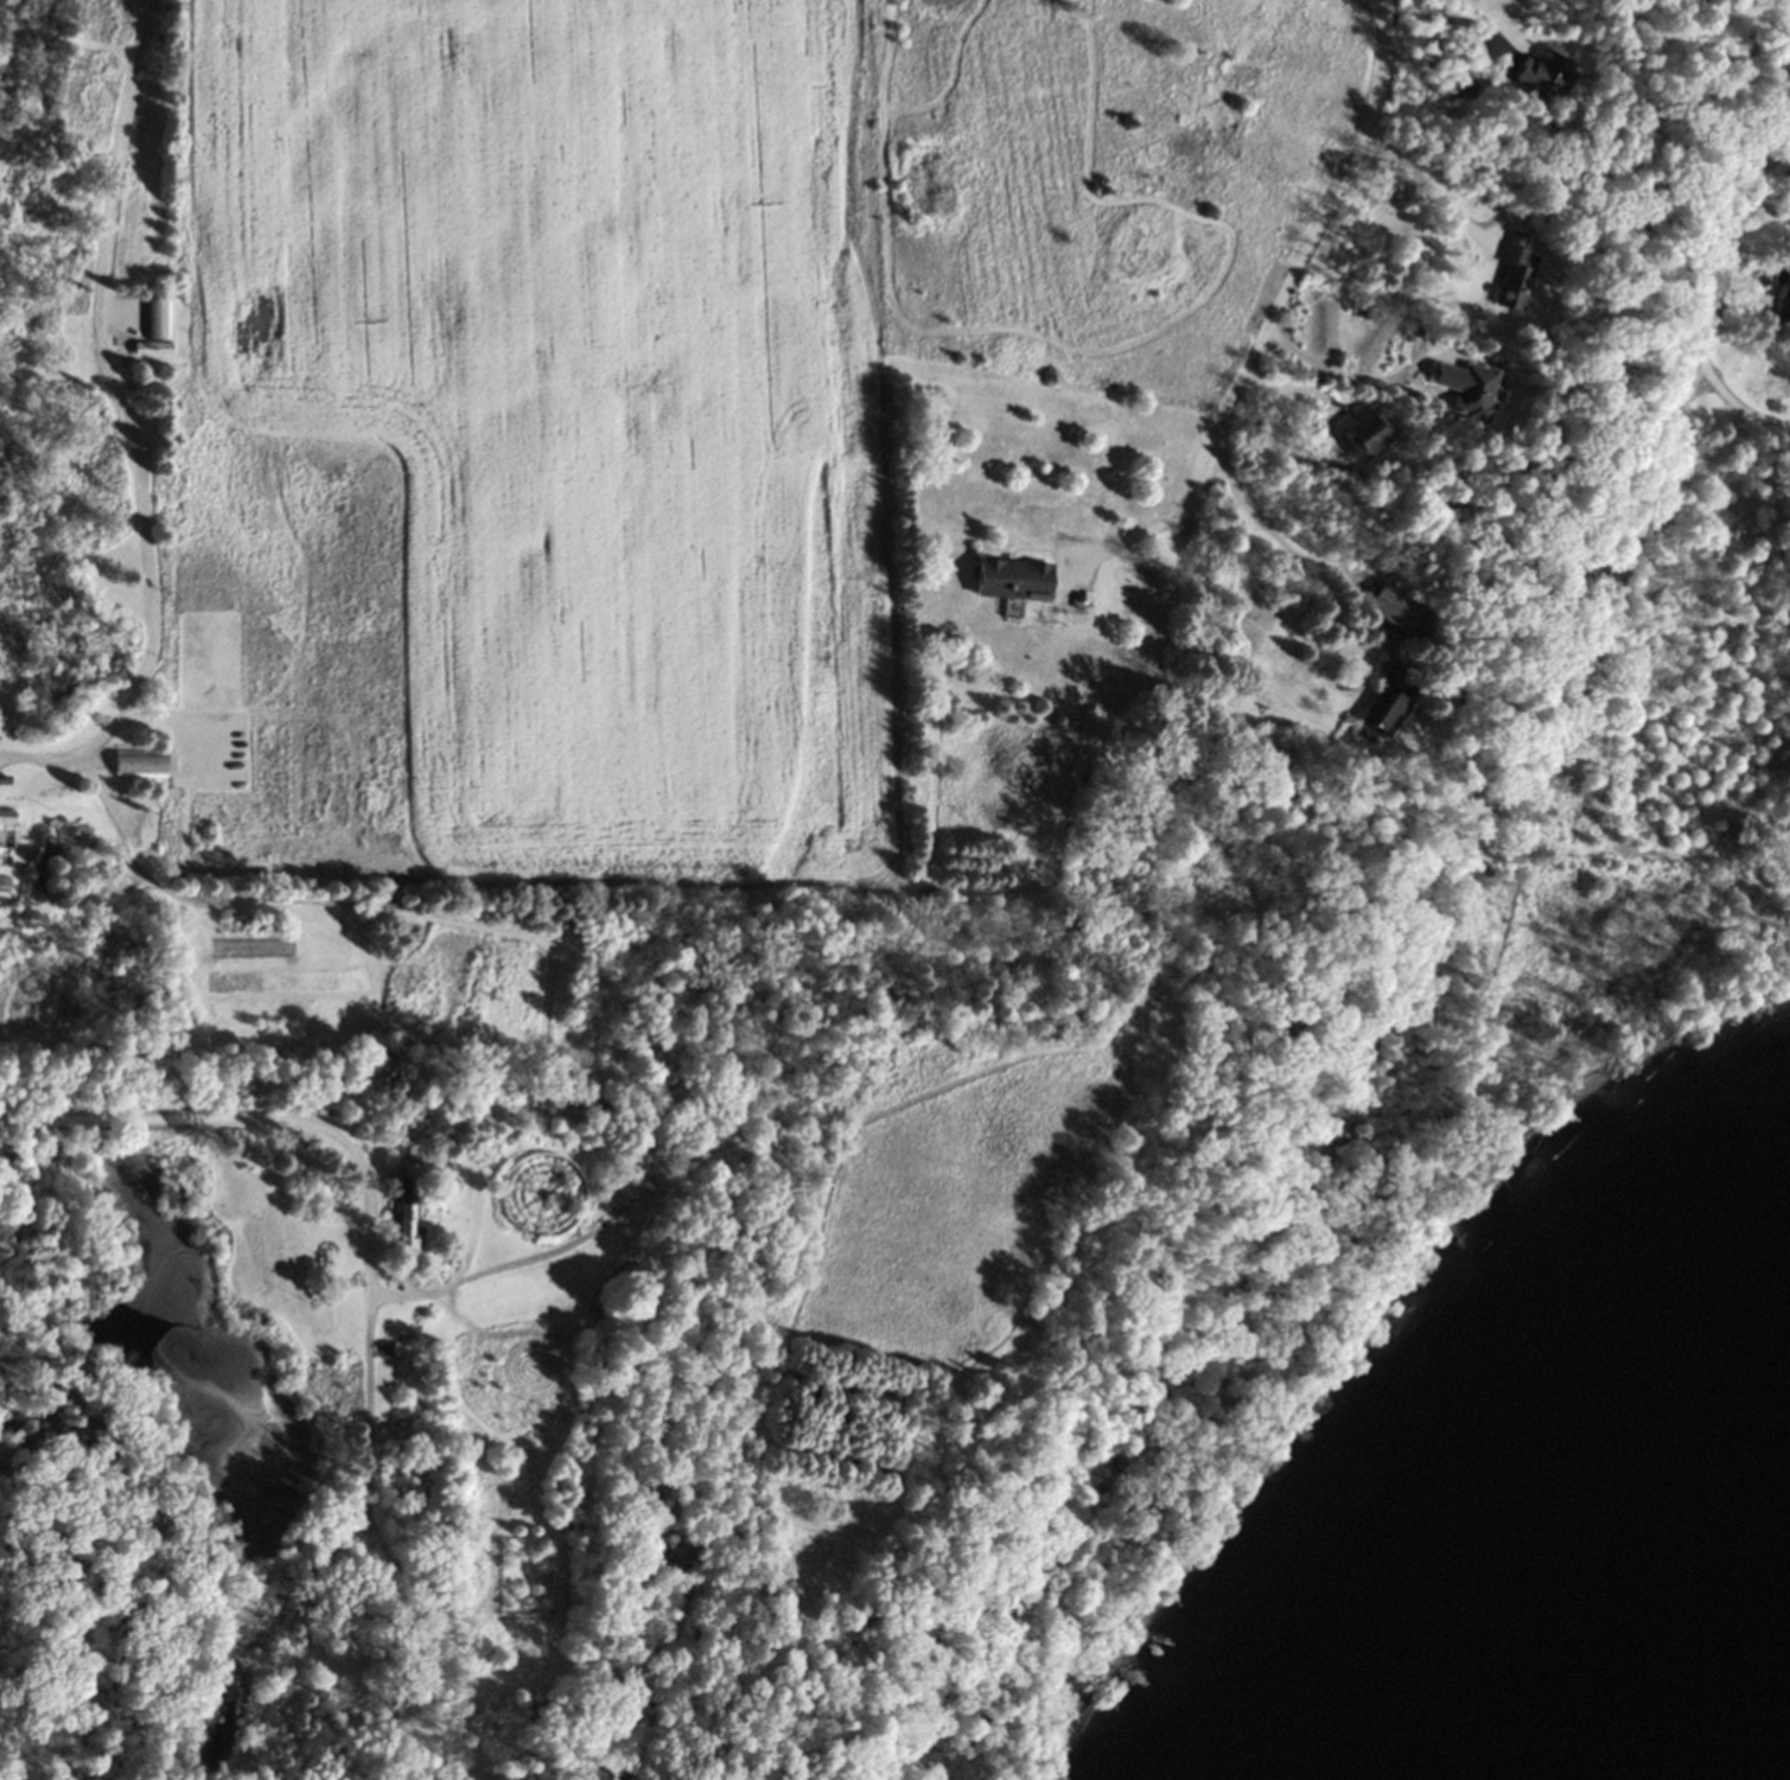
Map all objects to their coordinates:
road: (1454, 18)
building: (1544, 75)
road: (1429, 180)
road: (1748, 228)
road: (1300, 263)
building: (1514, 274)
building: (1785, 298)
building: (155, 328)
road: (1339, 371)
building: (1466, 389)
road: (129, 425)
building: (1364, 434)
road: (1273, 528)
road: (1123, 541)
building: (1009, 579)
building: (1399, 611)
building: (1394, 700)
building: (139, 763)
road: (276, 1117)
building: (413, 1202)

